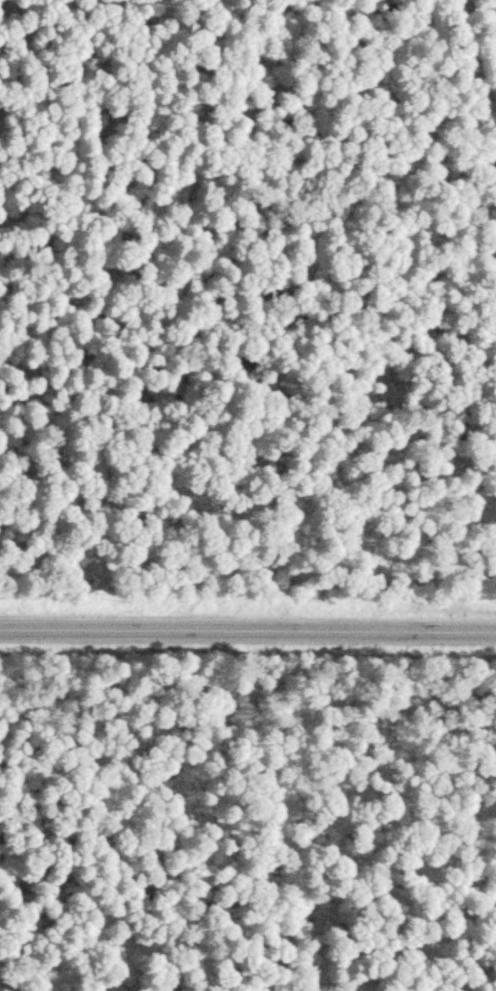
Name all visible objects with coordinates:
road: (248, 632)

